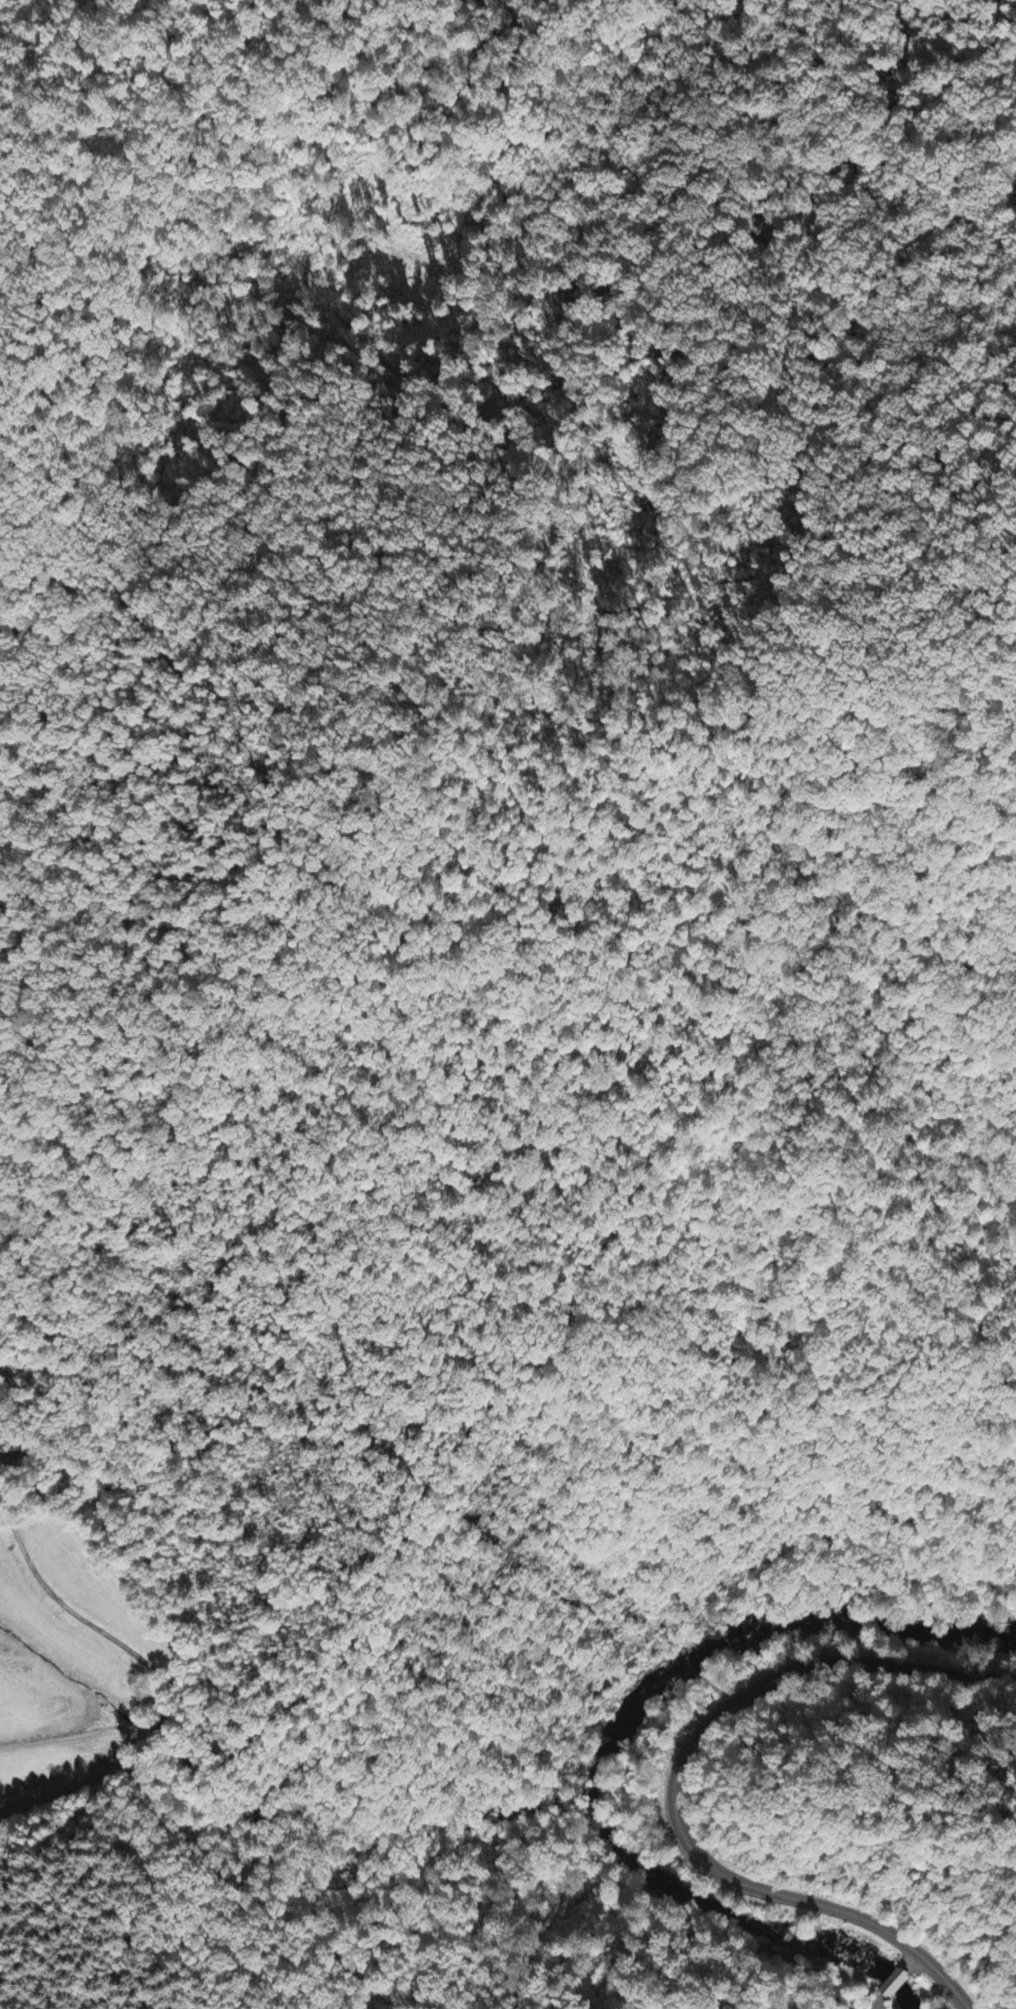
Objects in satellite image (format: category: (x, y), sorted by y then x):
road: (828, 63)
road: (486, 1411)
river: (760, 1643)
road: (671, 1784)
river: (729, 1928)
road: (912, 1963)
road: (888, 1989)

